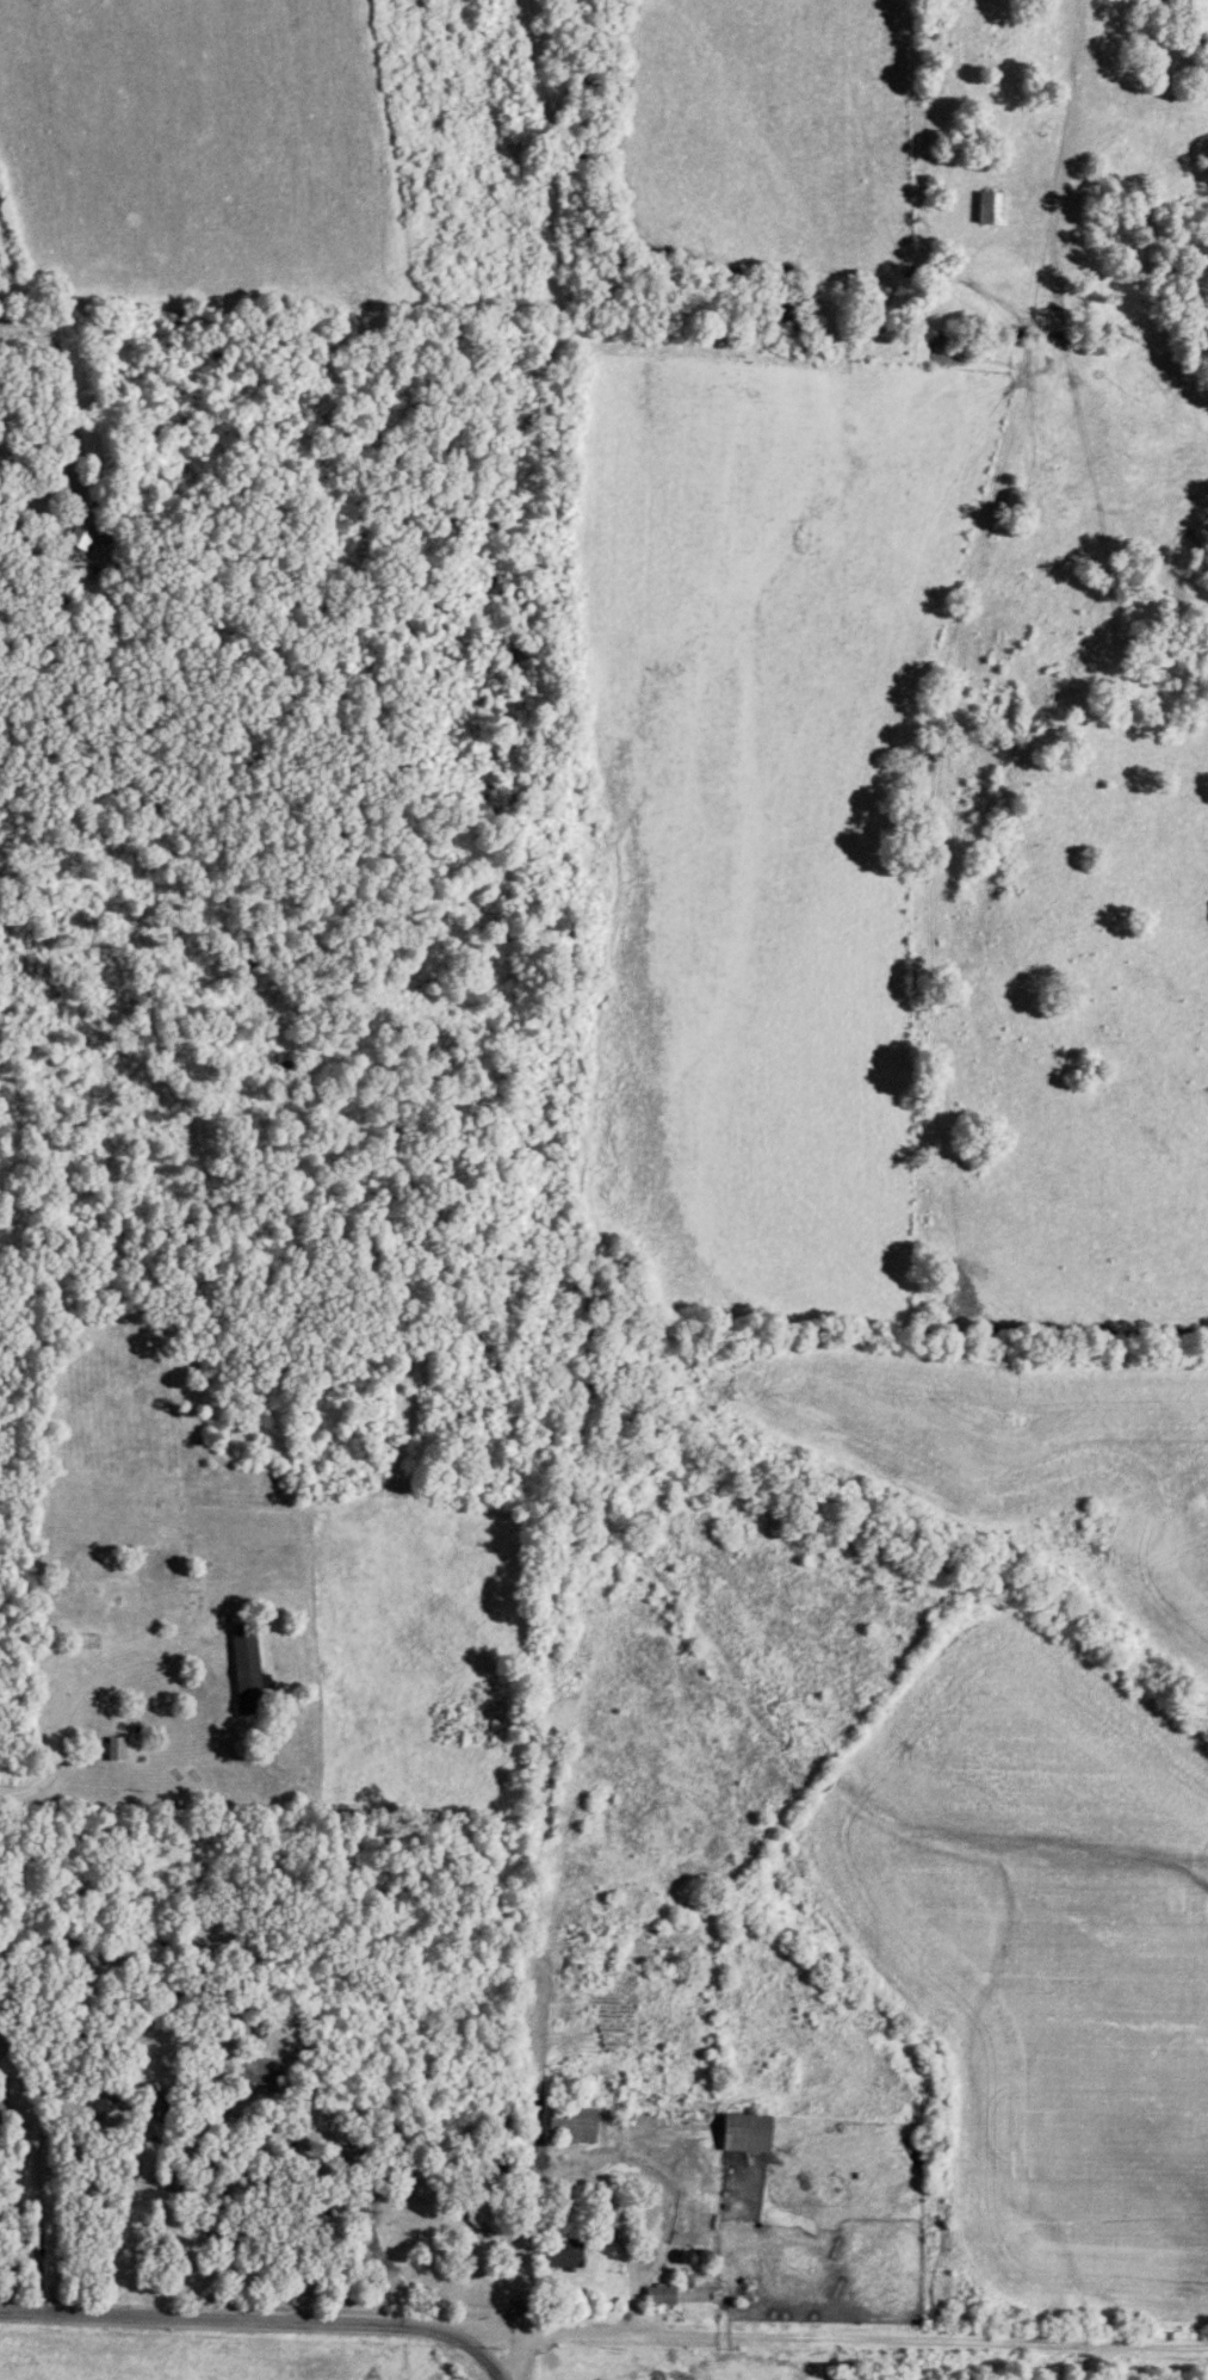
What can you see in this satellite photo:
building: (989, 209)
road: (66, 376)
building: (81, 530)
building: (81, 1643)
road: (89, 1677)
building: (246, 1686)
building: (80, 2002)
building: (570, 2126)
building: (742, 2134)
building: (482, 2215)
building: (563, 2256)
building: (656, 2298)
road: (266, 2316)
road: (487, 2326)
road: (867, 2336)
road: (521, 2354)

